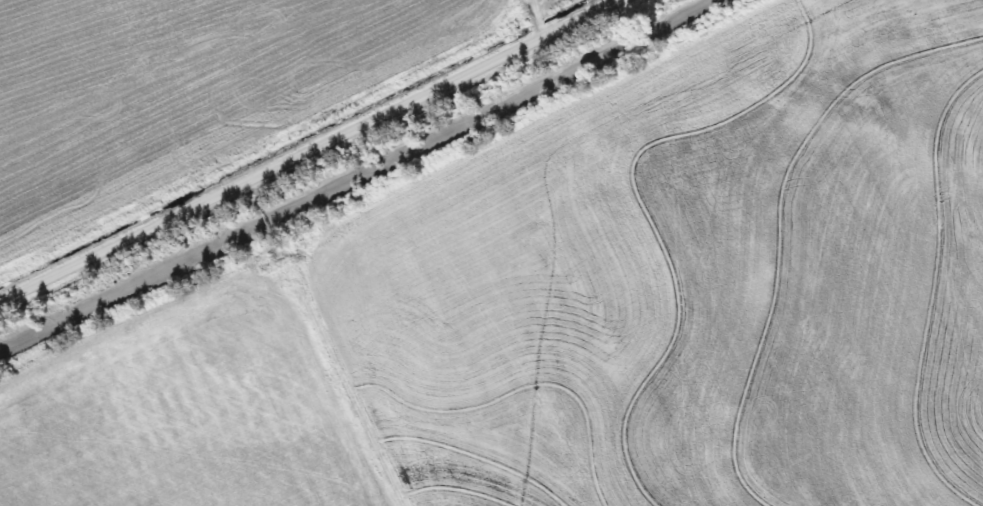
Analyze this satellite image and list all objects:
road: (532, 3)
road: (536, 15)
road: (307, 151)

